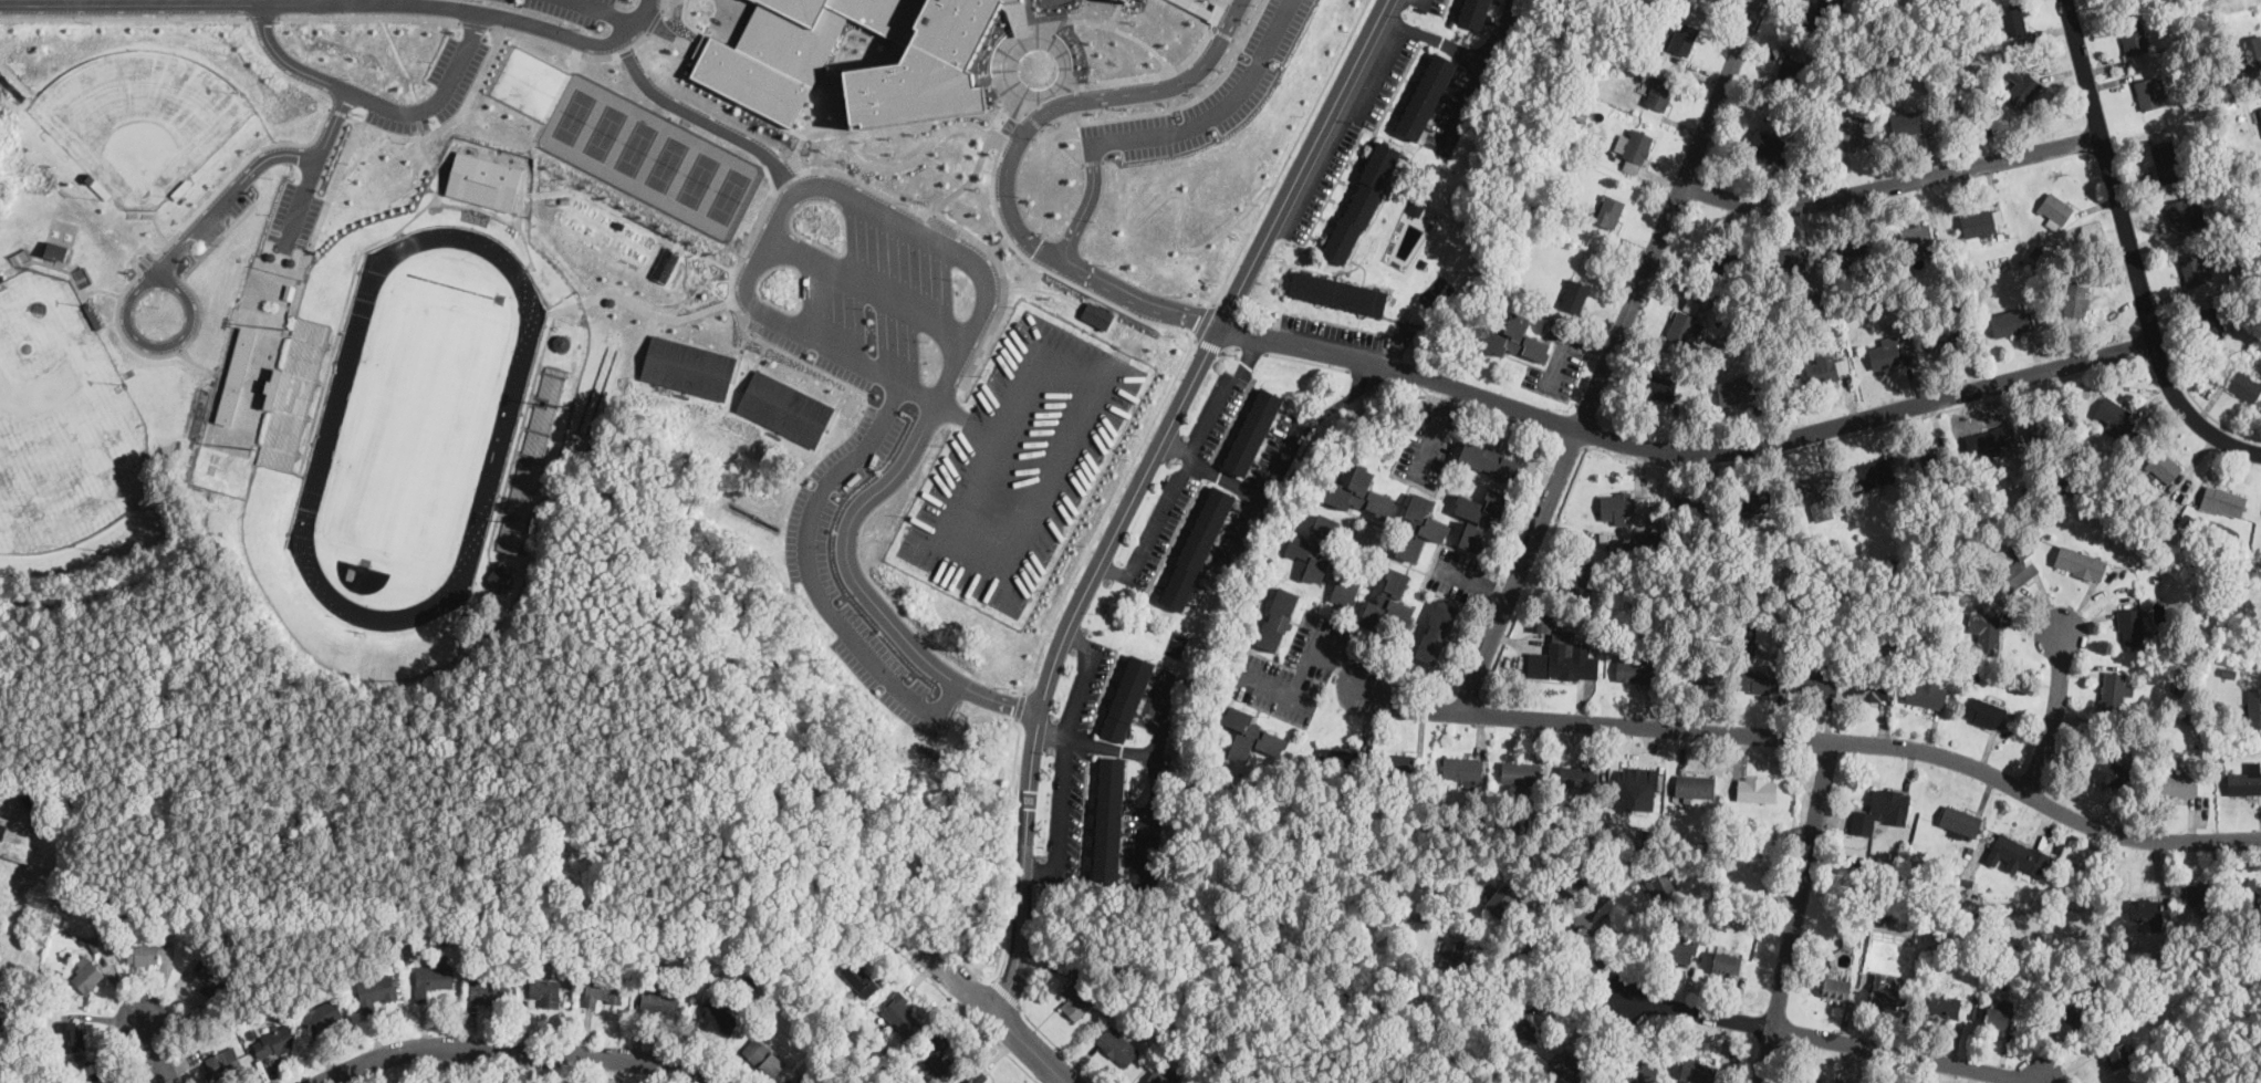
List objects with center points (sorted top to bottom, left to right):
building: (1008, 0)
road: (330, 1)
road: (337, 2)
road: (611, 10)
building: (1815, 12)
building: (1471, 13)
road: (264, 15)
road: (369, 15)
road: (125, 17)
building: (2012, 18)
building: (2133, 35)
road: (1432, 38)
building: (1682, 38)
building: (794, 49)
building: (2251, 53)
building: (1791, 64)
building: (926, 67)
road: (1480, 73)
road: (1067, 86)
building: (2025, 88)
building: (1658, 91)
building: (2148, 91)
building: (1425, 93)
road: (1086, 98)
road: (377, 100)
road: (1180, 105)
building: (1962, 107)
road: (1217, 108)
building: (2260, 108)
park: (572, 115)
road: (1031, 116)
road: (700, 118)
park: (140, 119)
building: (1906, 122)
park: (604, 132)
building: (1845, 135)
building: (1768, 144)
building: (1638, 145)
park: (637, 147)
road: (1060, 147)
road: (1290, 150)
road: (1092, 160)
building: (2165, 160)
road: (314, 164)
park: (667, 164)
building: (483, 179)
park: (697, 179)
road: (1890, 184)
road: (228, 194)
park: (728, 195)
building: (1362, 201)
road: (1086, 204)
building: (1415, 206)
road: (1184, 207)
building: (2054, 207)
building: (1609, 210)
building: (2179, 212)
building: (1980, 220)
building: (1915, 236)
building: (56, 249)
road: (2129, 249)
building: (1854, 251)
building: (1789, 258)
building: (1421, 261)
building: (666, 264)
building: (1719, 267)
road: (1043, 268)
building: (2192, 268)
track: (373, 269)
building: (2076, 285)
parking lot: (867, 289)
road: (867, 289)
road: (986, 289)
building: (1333, 290)
road: (1125, 293)
building: (1574, 294)
building: (1097, 314)
road: (1205, 321)
building: (2011, 321)
building: (2206, 322)
building: (1684, 325)
building: (1514, 337)
road: (1564, 339)
building: (1941, 341)
road: (160, 343)
road: (1209, 344)
road: (1228, 347)
road: (1251, 350)
building: (1884, 352)
road: (1608, 354)
road: (1305, 360)
road: (1247, 361)
building: (685, 362)
building: (1819, 368)
road: (2163, 369)
road: (1367, 372)
building: (236, 374)
building: (2246, 384)
building: (1659, 385)
building: (1736, 389)
road: (1451, 395)
road: (1344, 397)
building: (781, 406)
road: (1472, 406)
road: (2207, 412)
road: (960, 416)
building: (2114, 416)
park: (63, 419)
track: (416, 426)
building: (2040, 427)
park: (423, 428)
building: (1247, 428)
road: (1874, 428)
road: (1431, 440)
road: (1571, 440)
building: (1987, 441)
road: (1686, 451)
building: (1928, 457)
building: (1493, 461)
parking lot: (1020, 462)
building: (2163, 465)
road: (1211, 471)
building: (1873, 472)
road: (1179, 479)
road: (1136, 489)
building: (1358, 491)
building: (1811, 491)
road: (1264, 497)
building: (2222, 500)
building: (1751, 502)
building: (1642, 503)
building: (1614, 506)
building: (1690, 507)
road: (1106, 512)
building: (1479, 516)
building: (1421, 527)
building: (1191, 545)
building: (1315, 546)
building: (2080, 562)
building: (2019, 570)
road: (1113, 572)
building: (1580, 575)
building: (500, 576)
road: (812, 579)
road: (1473, 582)
building: (1344, 590)
building: (1388, 602)
building: (1278, 618)
building: (1540, 622)
building: (2132, 626)
building: (1437, 631)
building: (1984, 634)
road: (1316, 639)
building: (1560, 659)
building: (1636, 668)
building: (1703, 675)
building: (1759, 679)
building: (1819, 681)
road: (1281, 688)
building: (1871, 688)
building: (2115, 688)
building: (1926, 690)
building: (1126, 696)
road: (1019, 705)
building: (2254, 707)
road: (2055, 709)
building: (1984, 711)
building: (1250, 733)
road: (1813, 737)
road: (1130, 750)
building: (1338, 757)
road: (1063, 758)
building: (1399, 761)
building: (1463, 770)
building: (2106, 770)
building: (1520, 772)
building: (1578, 775)
building: (2246, 779)
building: (1695, 784)
building: (2177, 784)
building: (1635, 788)
building: (1755, 789)
building: (1880, 809)
road: (1153, 812)
building: (1108, 819)
building: (1960, 821)
building: (2, 829)
road: (1009, 844)
building: (2017, 854)
building: (2260, 874)
building: (1659, 883)
building: (2195, 891)
building: (2249, 891)
building: (1570, 896)
building: (1501, 898)
road: (1795, 910)
building: (2147, 910)
road: (1584, 933)
road: (1535, 947)
building: (145, 950)
building: (1679, 950)
building: (1450, 951)
building: (1726, 962)
building: (87, 977)
building: (859, 978)
building: (213, 979)
building: (431, 979)
building: (1835, 986)
building: (491, 987)
road: (1008, 987)
building: (604, 988)
building: (375, 989)
building: (545, 990)
building: (1883, 991)
building: (659, 1000)
building: (1076, 1000)
road: (1573, 1006)
building: (1942, 1006)
road: (1696, 1011)
building: (900, 1013)
road: (996, 1013)
building: (2076, 1013)
building: (322, 1016)
building: (1998, 1017)
building: (717, 1018)
road: (971, 1020)
road: (1036, 1024)
building: (1523, 1030)
building: (71, 1035)
building: (273, 1041)
building: (1117, 1045)
road: (154, 1050)
road: (510, 1051)
building: (2119, 1054)
building: (762, 1055)
building: (938, 1055)
road: (1908, 1056)
building: (223, 1062)
building: (1567, 1064)
building: (1643, 1069)
building: (1697, 1070)
building: (1158, 1077)
building: (978, 1080)
building: (800, 1081)

